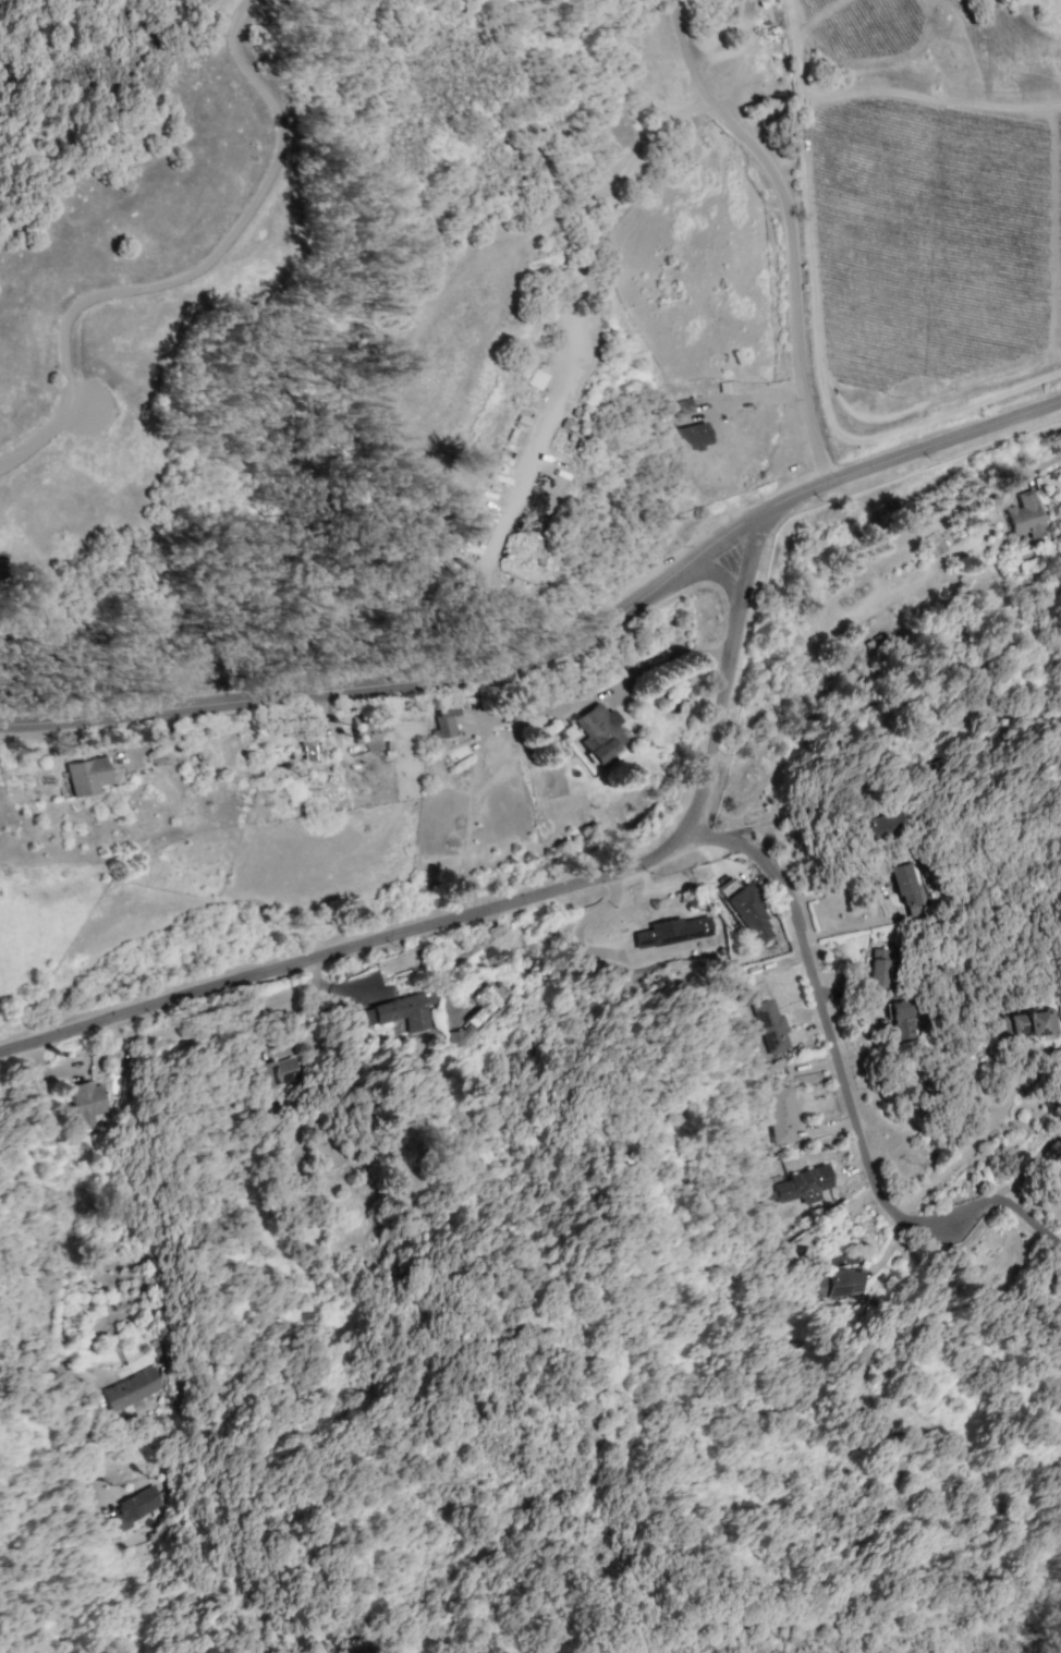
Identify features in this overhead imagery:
road: (685, 50)
crop: (920, 227)
road: (219, 239)
road: (794, 266)
road: (576, 285)
building: (685, 405)
building: (691, 436)
road: (40, 438)
building: (1024, 514)
road: (732, 647)
road: (561, 651)
road: (515, 717)
building: (446, 718)
building: (599, 733)
building: (366, 734)
building: (86, 775)
building: (890, 825)
building: (910, 888)
building: (748, 912)
building: (671, 931)
road: (347, 953)
building: (879, 968)
building: (484, 1005)
building: (403, 1010)
building: (903, 1019)
building: (1032, 1022)
building: (769, 1025)
building: (459, 1036)
building: (277, 1071)
road: (845, 1087)
building: (87, 1103)
building: (781, 1114)
road: (962, 1155)
building: (803, 1184)
road: (69, 1225)
building: (838, 1283)
building: (132, 1390)
road: (80, 1431)
building: (135, 1507)

